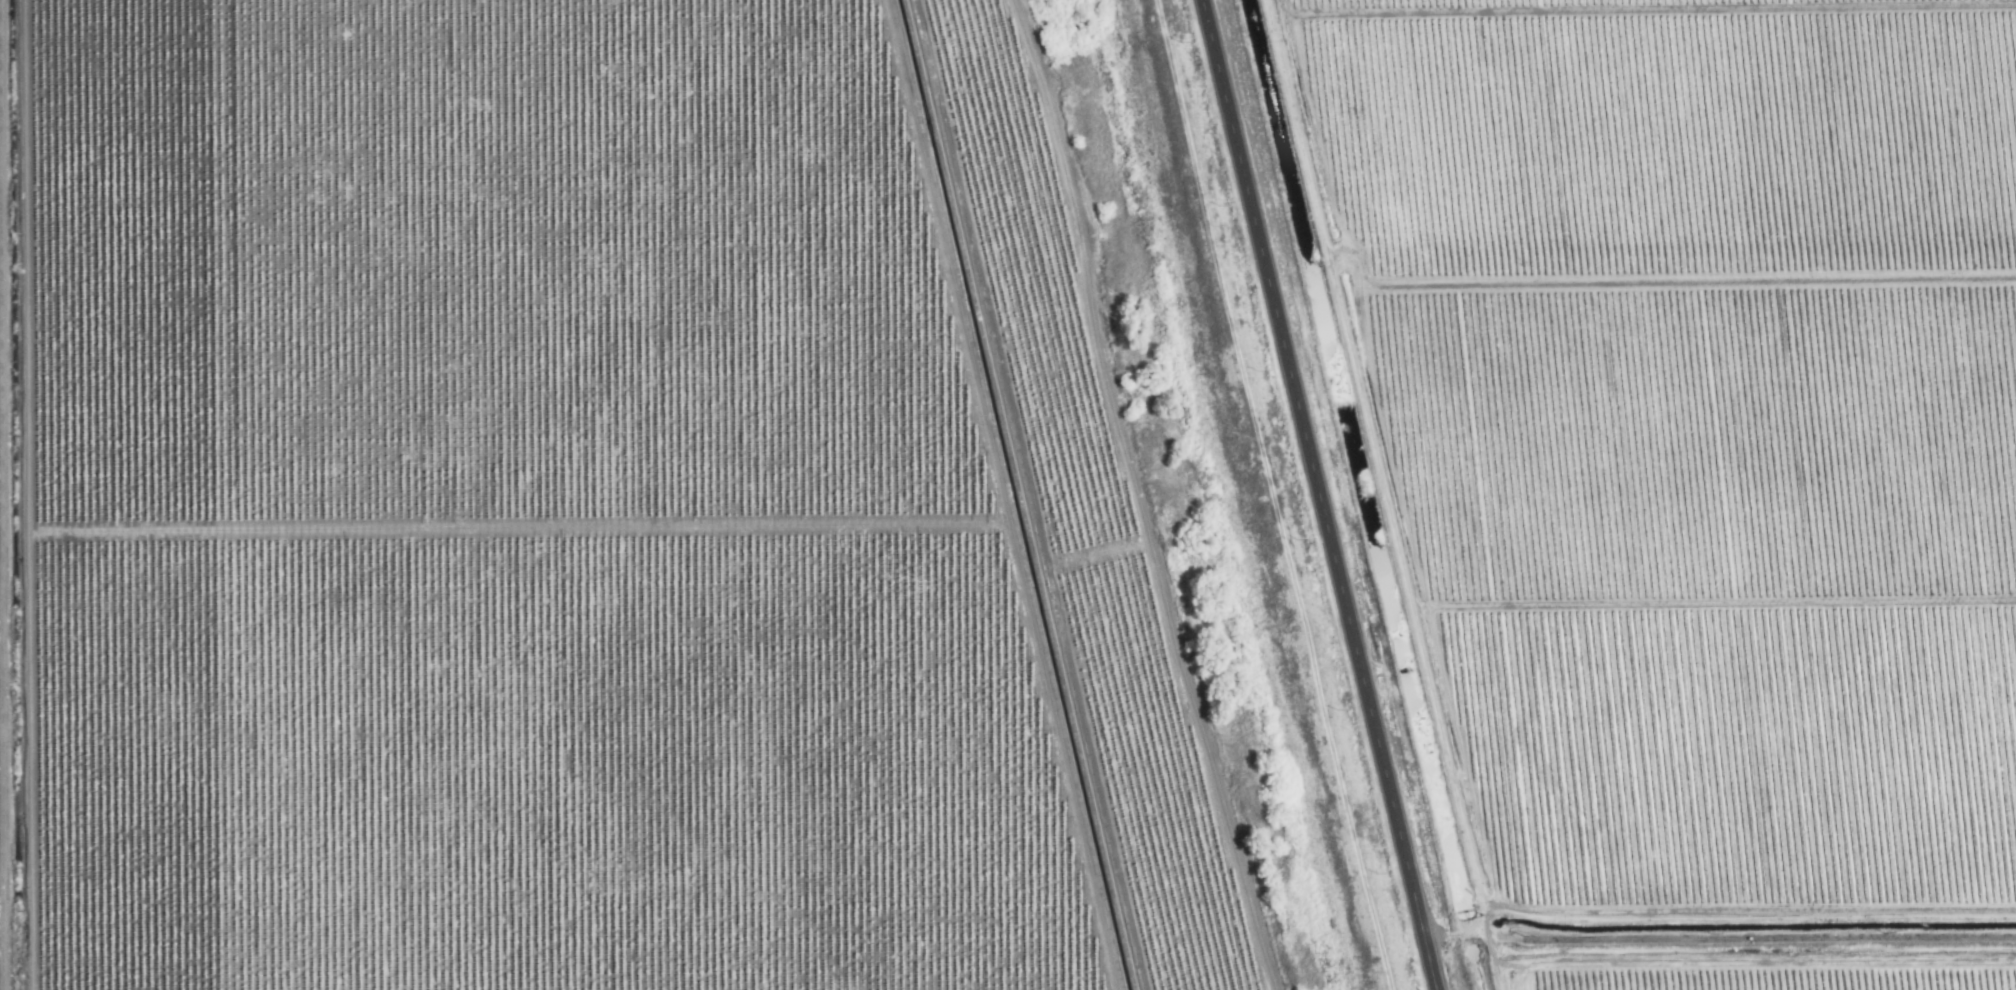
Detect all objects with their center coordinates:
road: (1325, 495)

